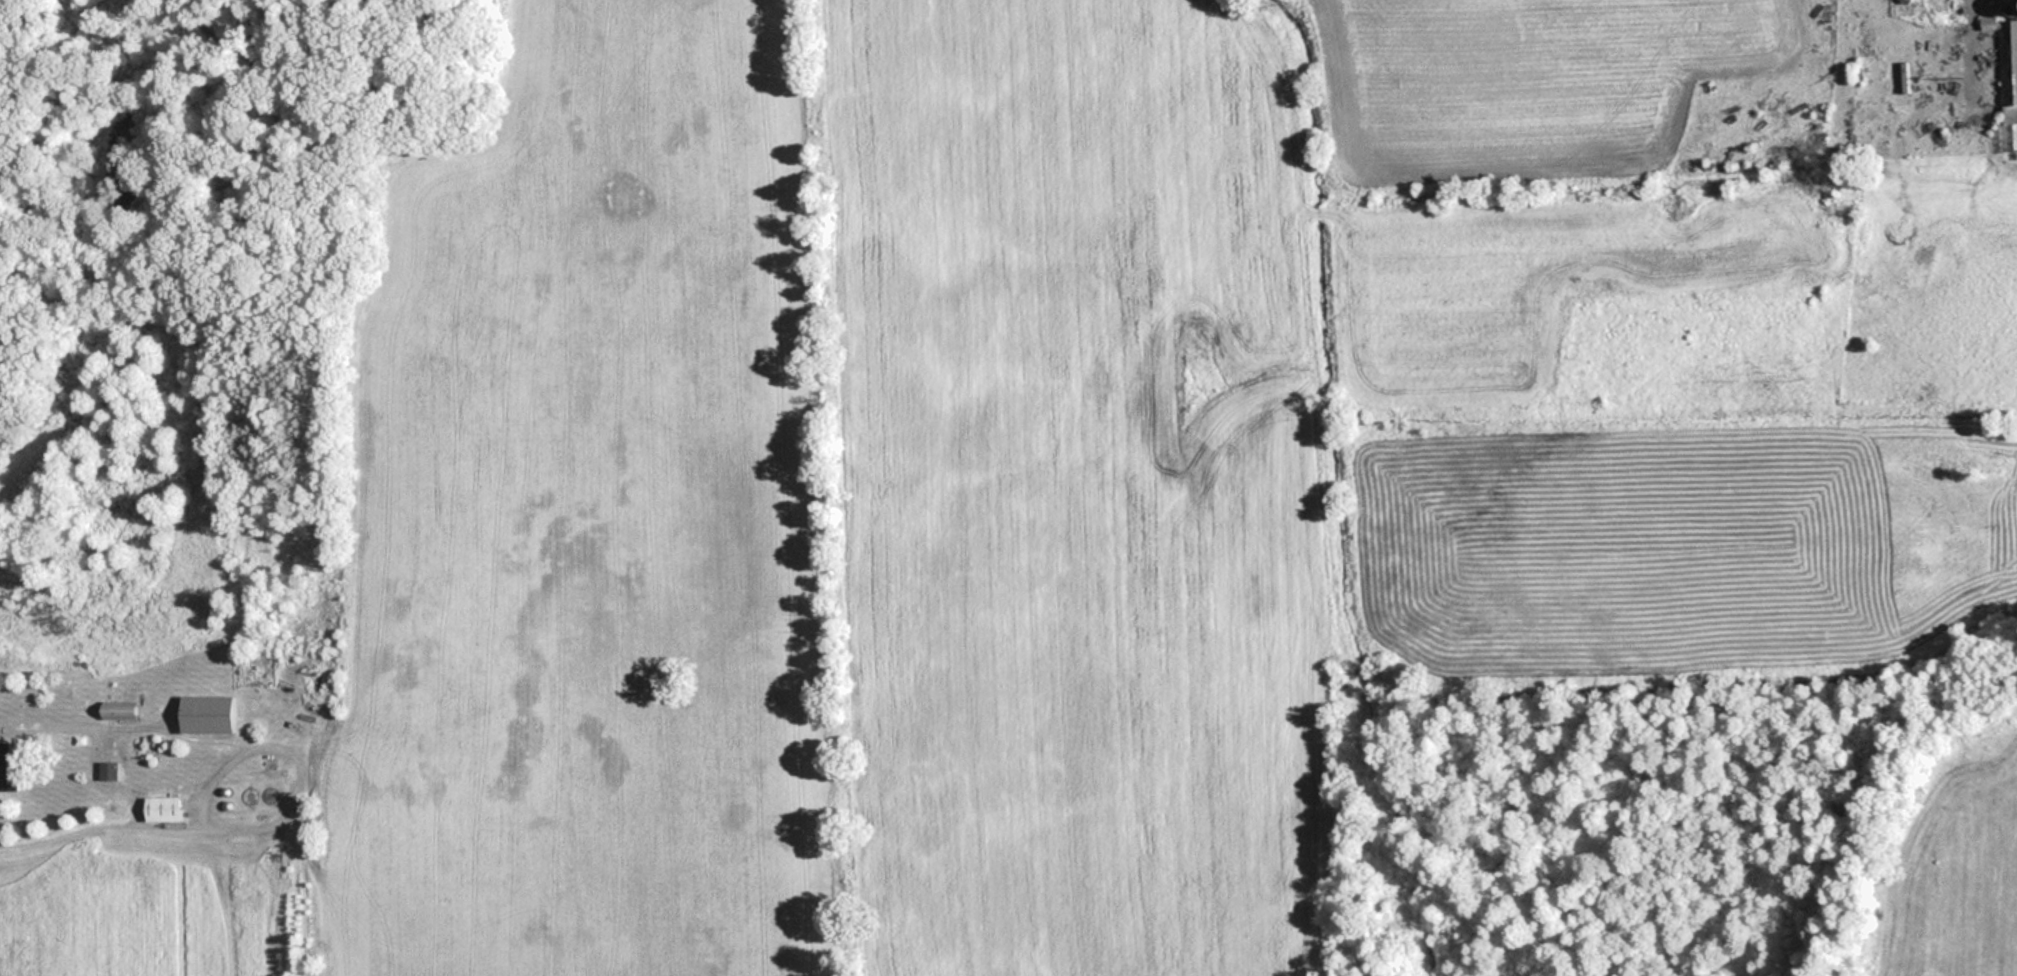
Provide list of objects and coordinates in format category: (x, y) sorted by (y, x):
building: (2007, 64)
building: (119, 711)
building: (208, 716)
building: (9, 770)
building: (106, 772)
road: (212, 777)
road: (296, 783)
road: (97, 787)
building: (267, 798)
building: (247, 799)
building: (162, 810)

